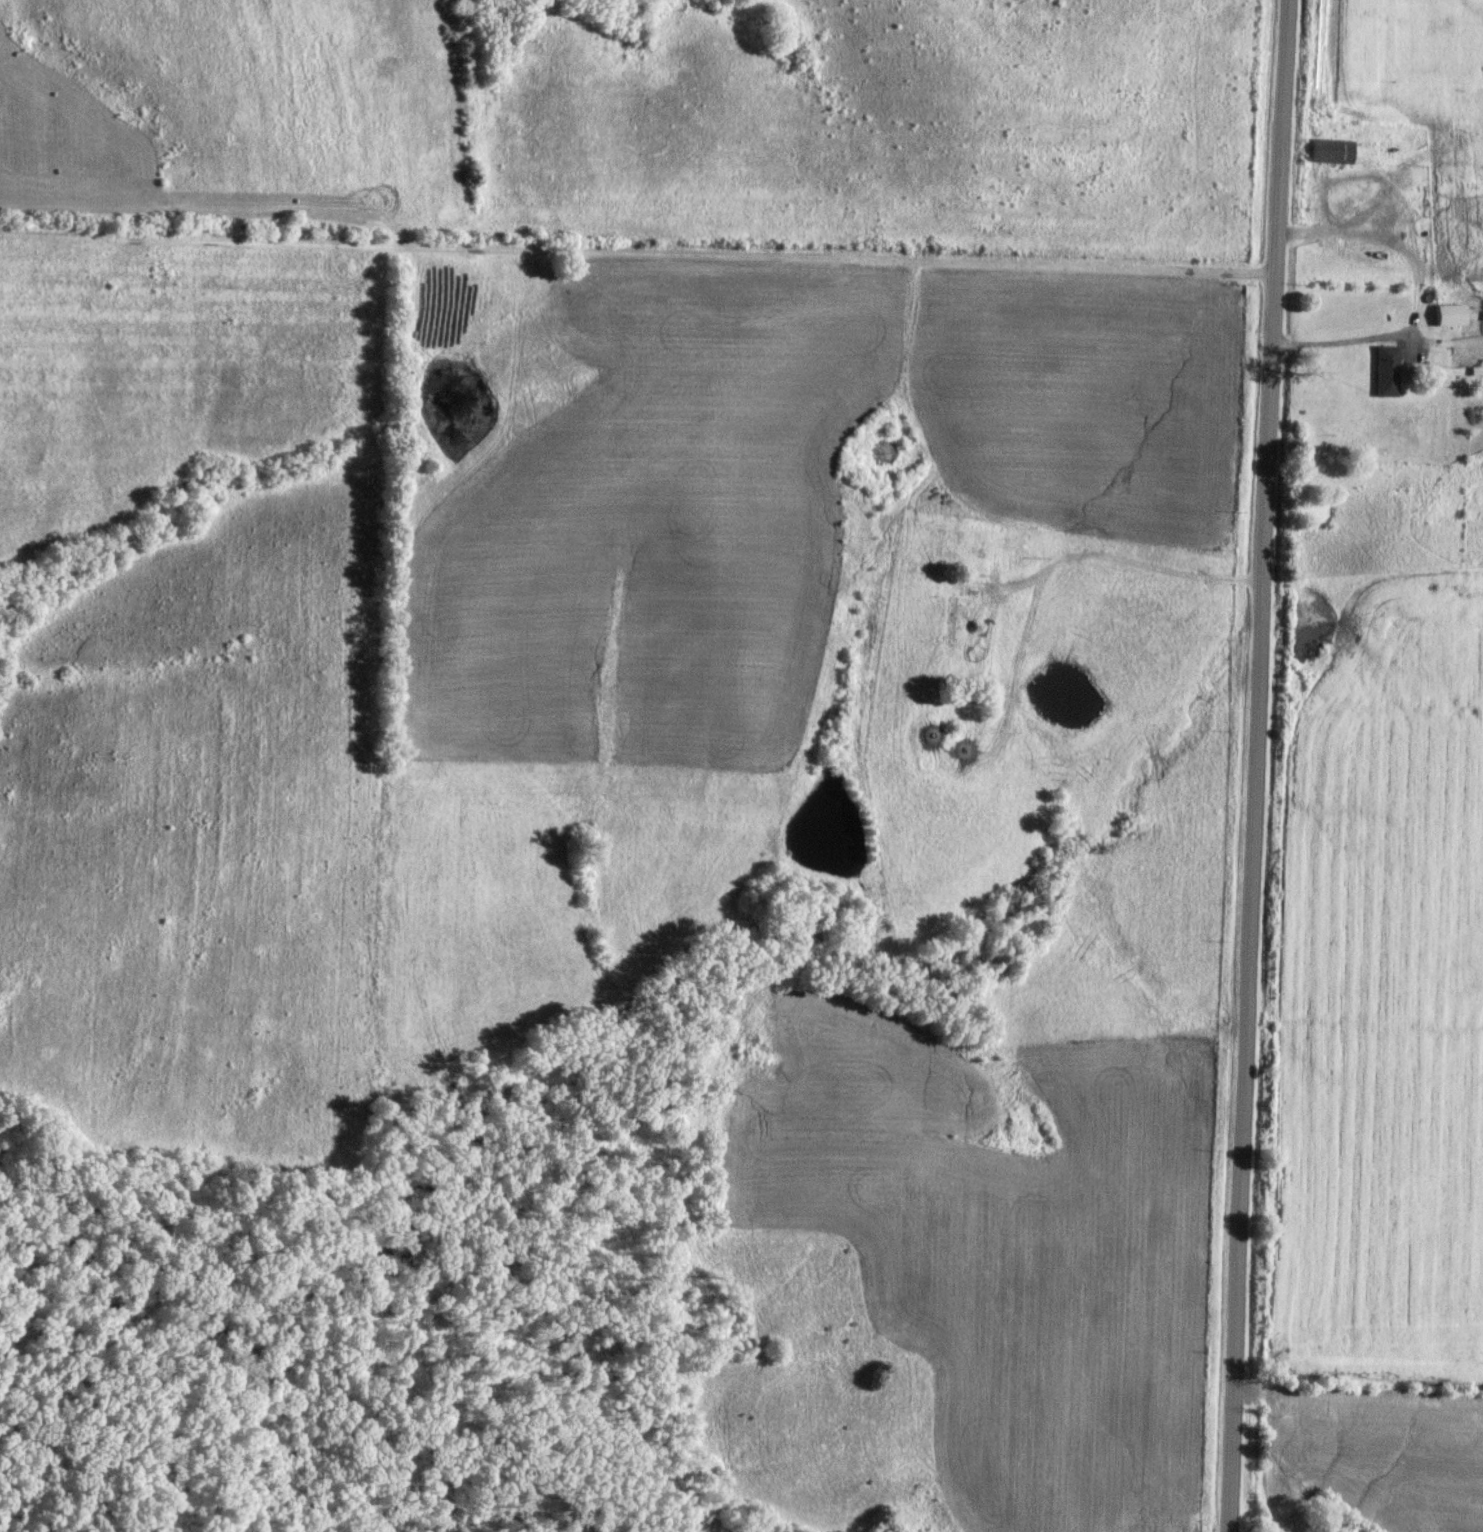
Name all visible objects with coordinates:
building: (1332, 151)
road: (1345, 173)
road: (640, 252)
building: (1451, 316)
road: (1379, 335)
building: (1386, 372)
road: (1047, 567)
road: (1260, 765)

